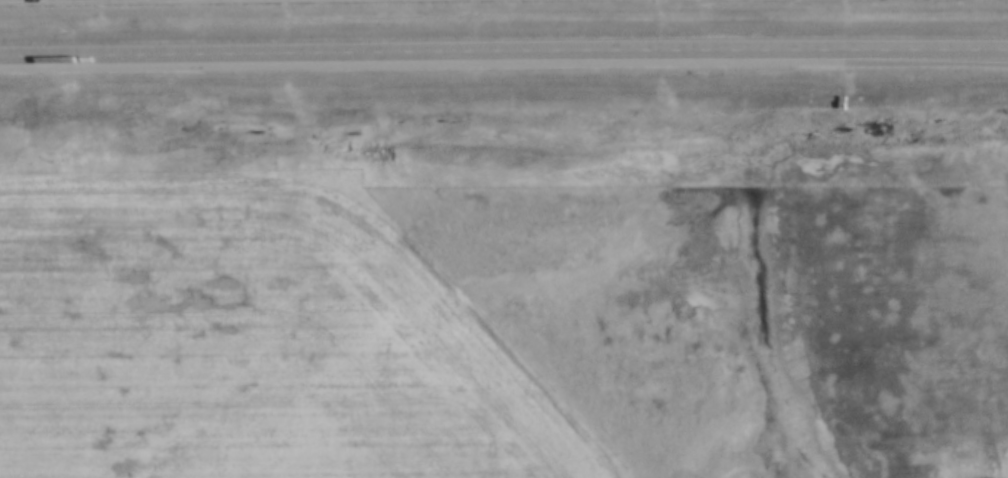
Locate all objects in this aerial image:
road: (503, 49)

